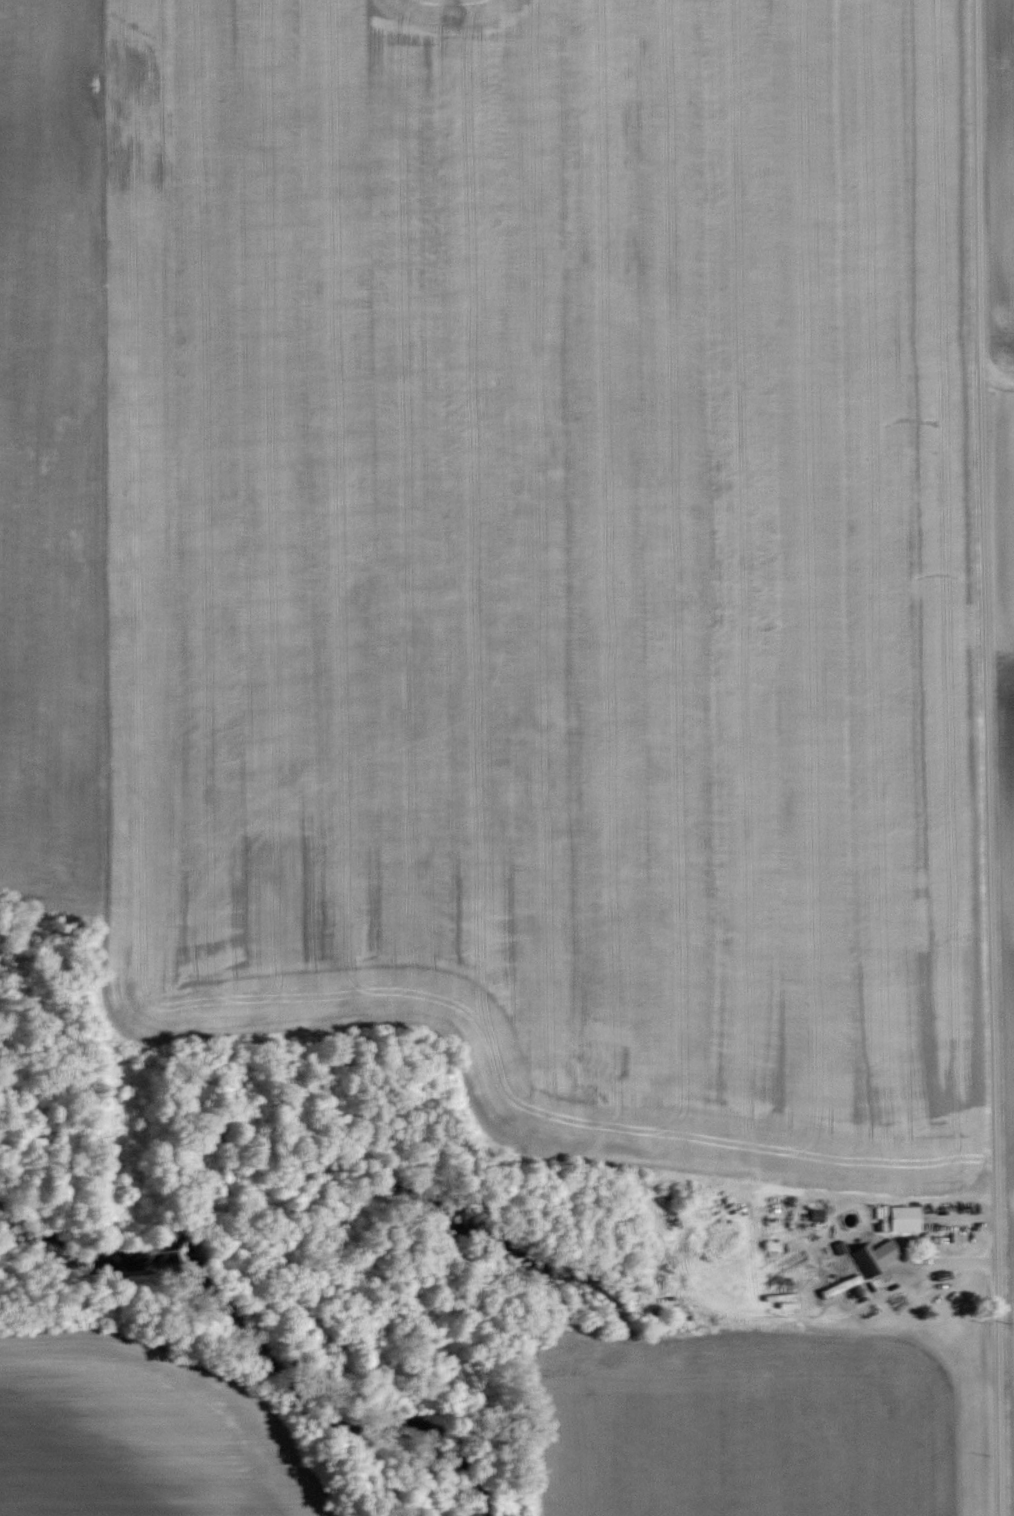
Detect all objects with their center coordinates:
road: (996, 373)
road: (984, 757)
building: (907, 1217)
building: (867, 1256)

